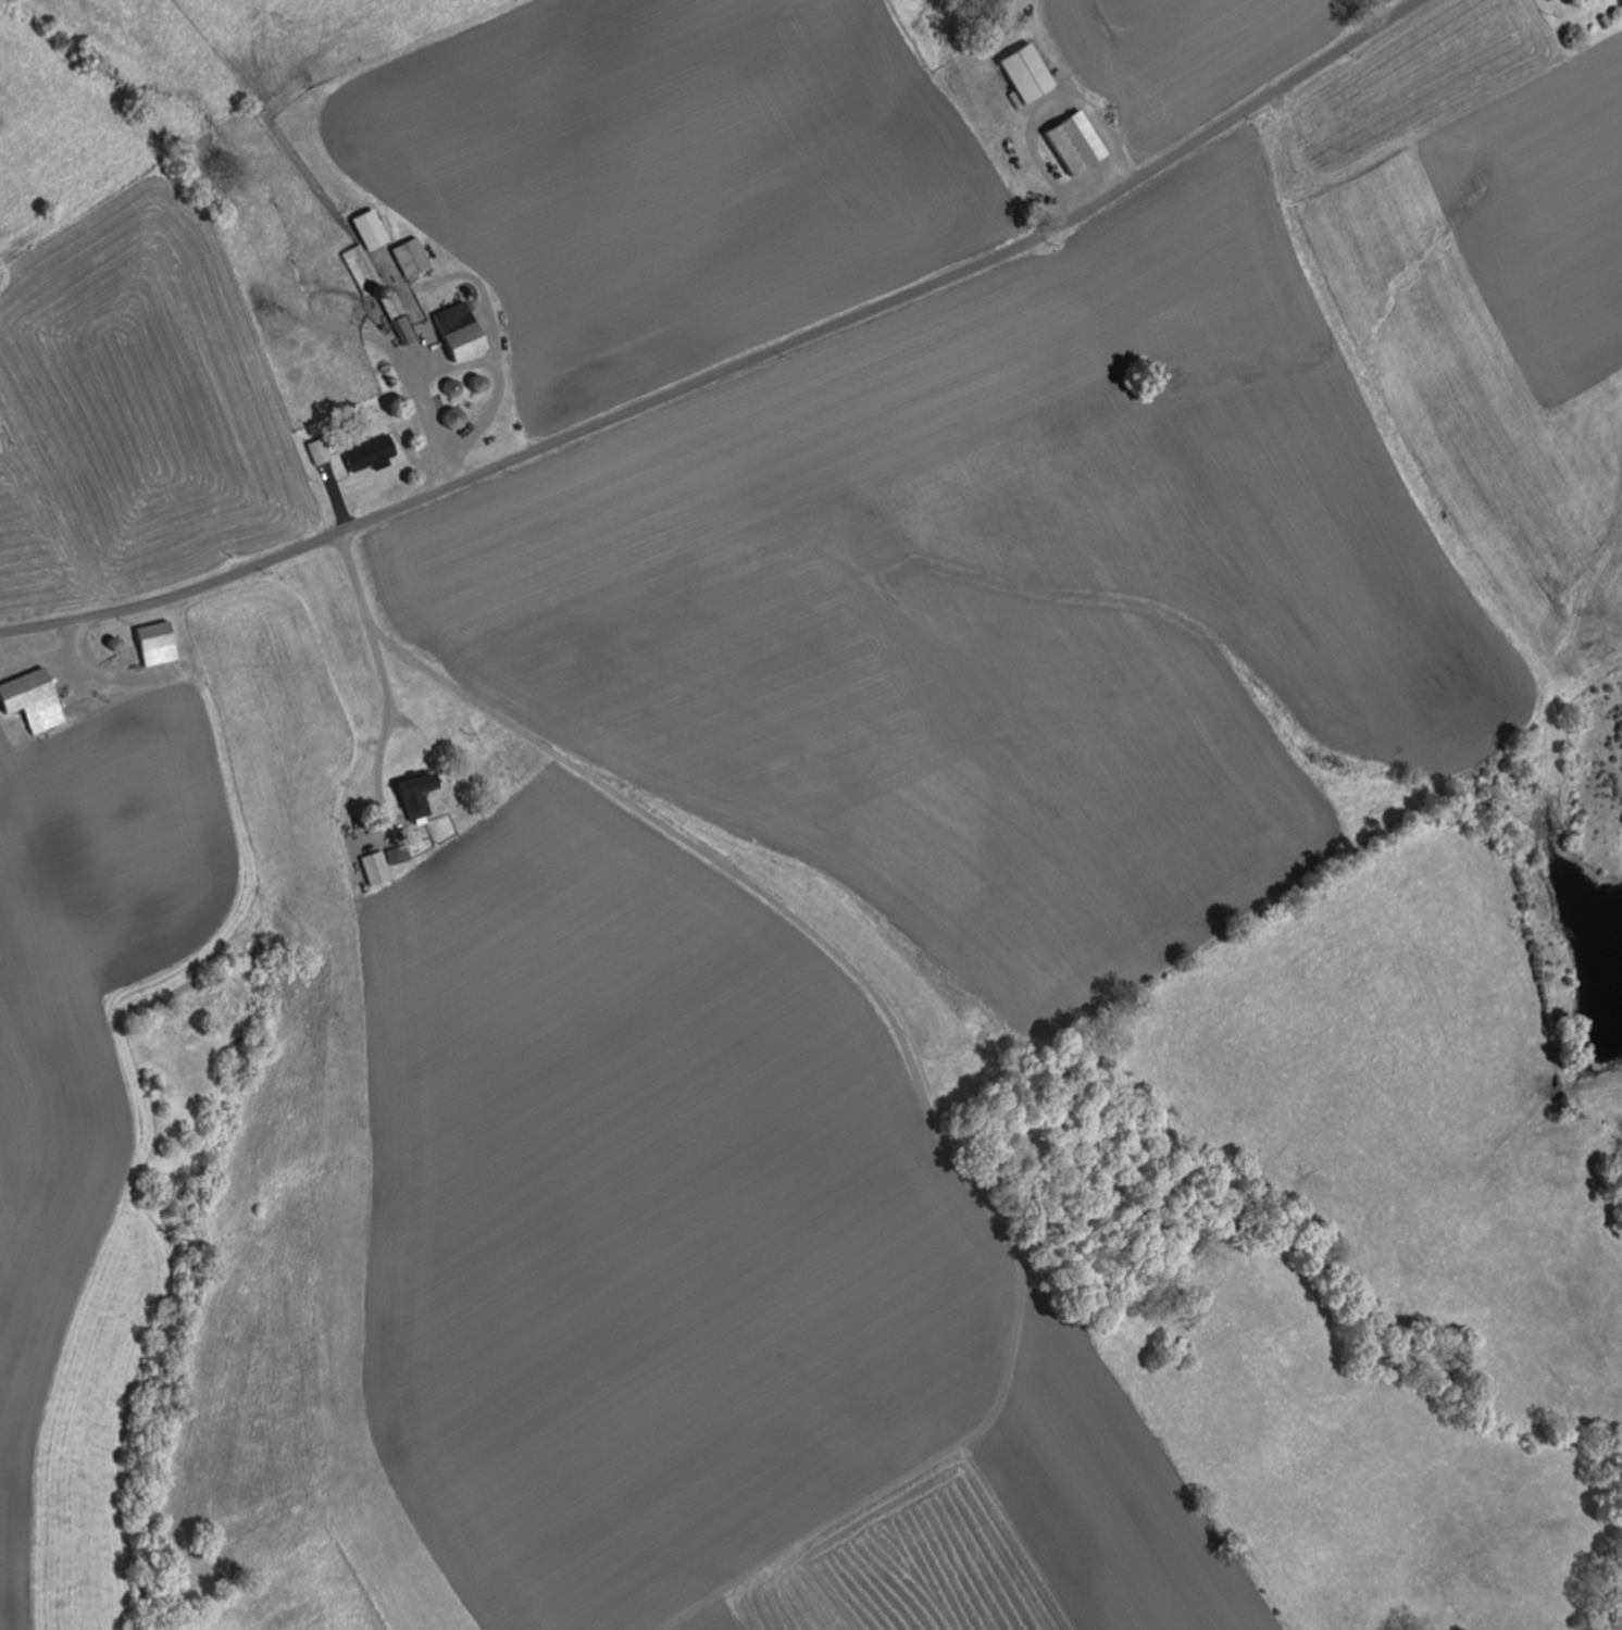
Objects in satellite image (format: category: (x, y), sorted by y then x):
building: (1025, 75)
building: (1075, 145)
building: (371, 231)
building: (413, 259)
building: (379, 294)
building: (456, 334)
road: (731, 369)
building: (475, 385)
building: (451, 389)
building: (451, 420)
building: (367, 456)
building: (153, 646)
road: (378, 657)
building: (30, 702)
building: (412, 797)
building: (374, 869)

